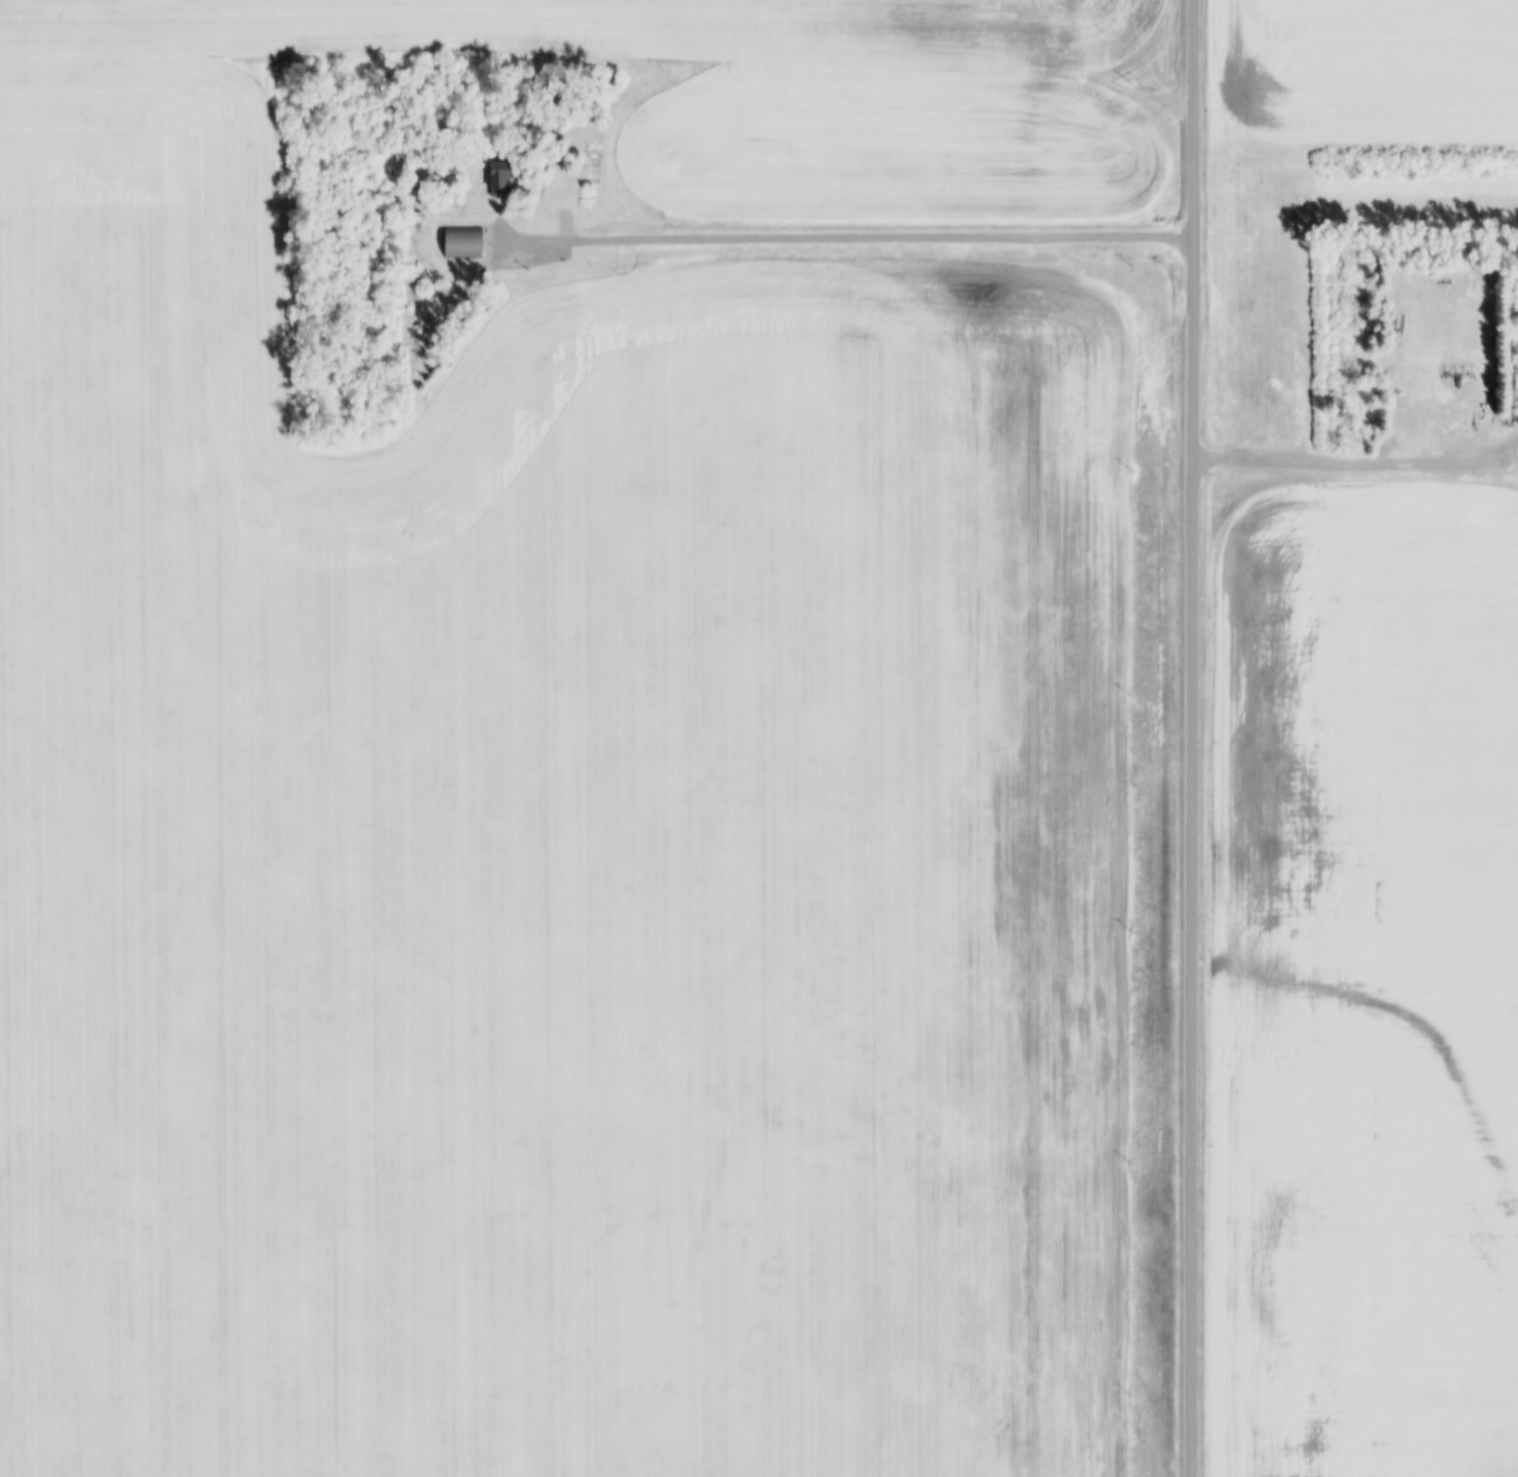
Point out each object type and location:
building: (502, 181)
road: (849, 236)
building: (465, 243)
building: (1517, 388)
road: (1356, 465)
road: (1193, 738)

